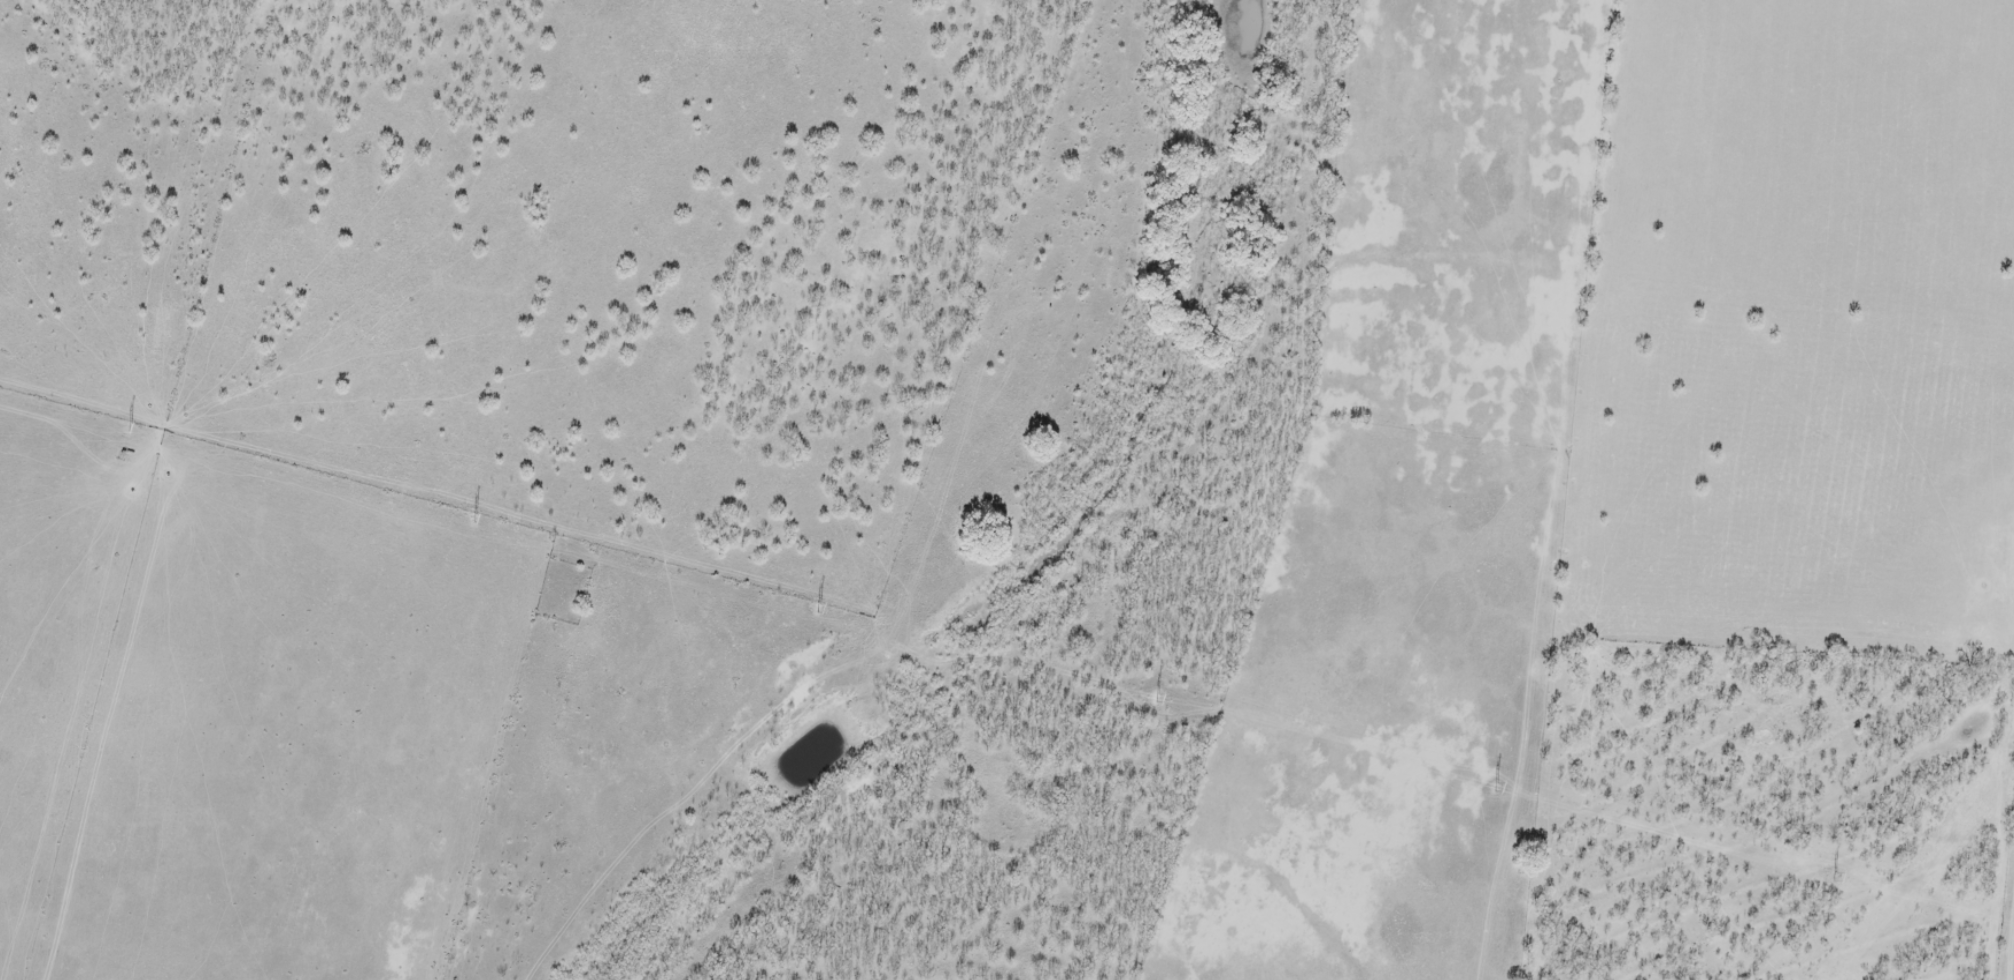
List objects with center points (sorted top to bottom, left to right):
power tower: (131, 424)
power tower: (477, 515)
power tower: (820, 607)
power tower: (1157, 697)
power tower: (1497, 785)
power tower: (1836, 876)

